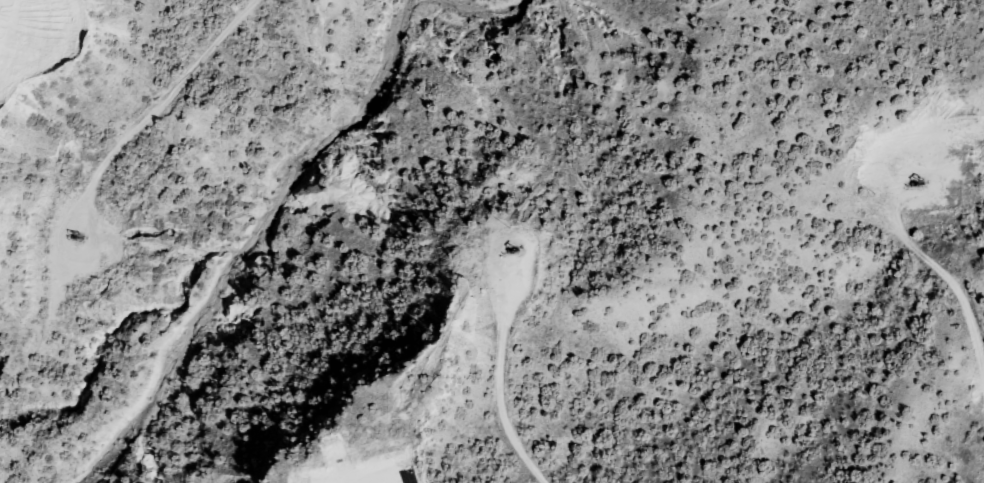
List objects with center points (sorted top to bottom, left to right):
road: (496, 404)

